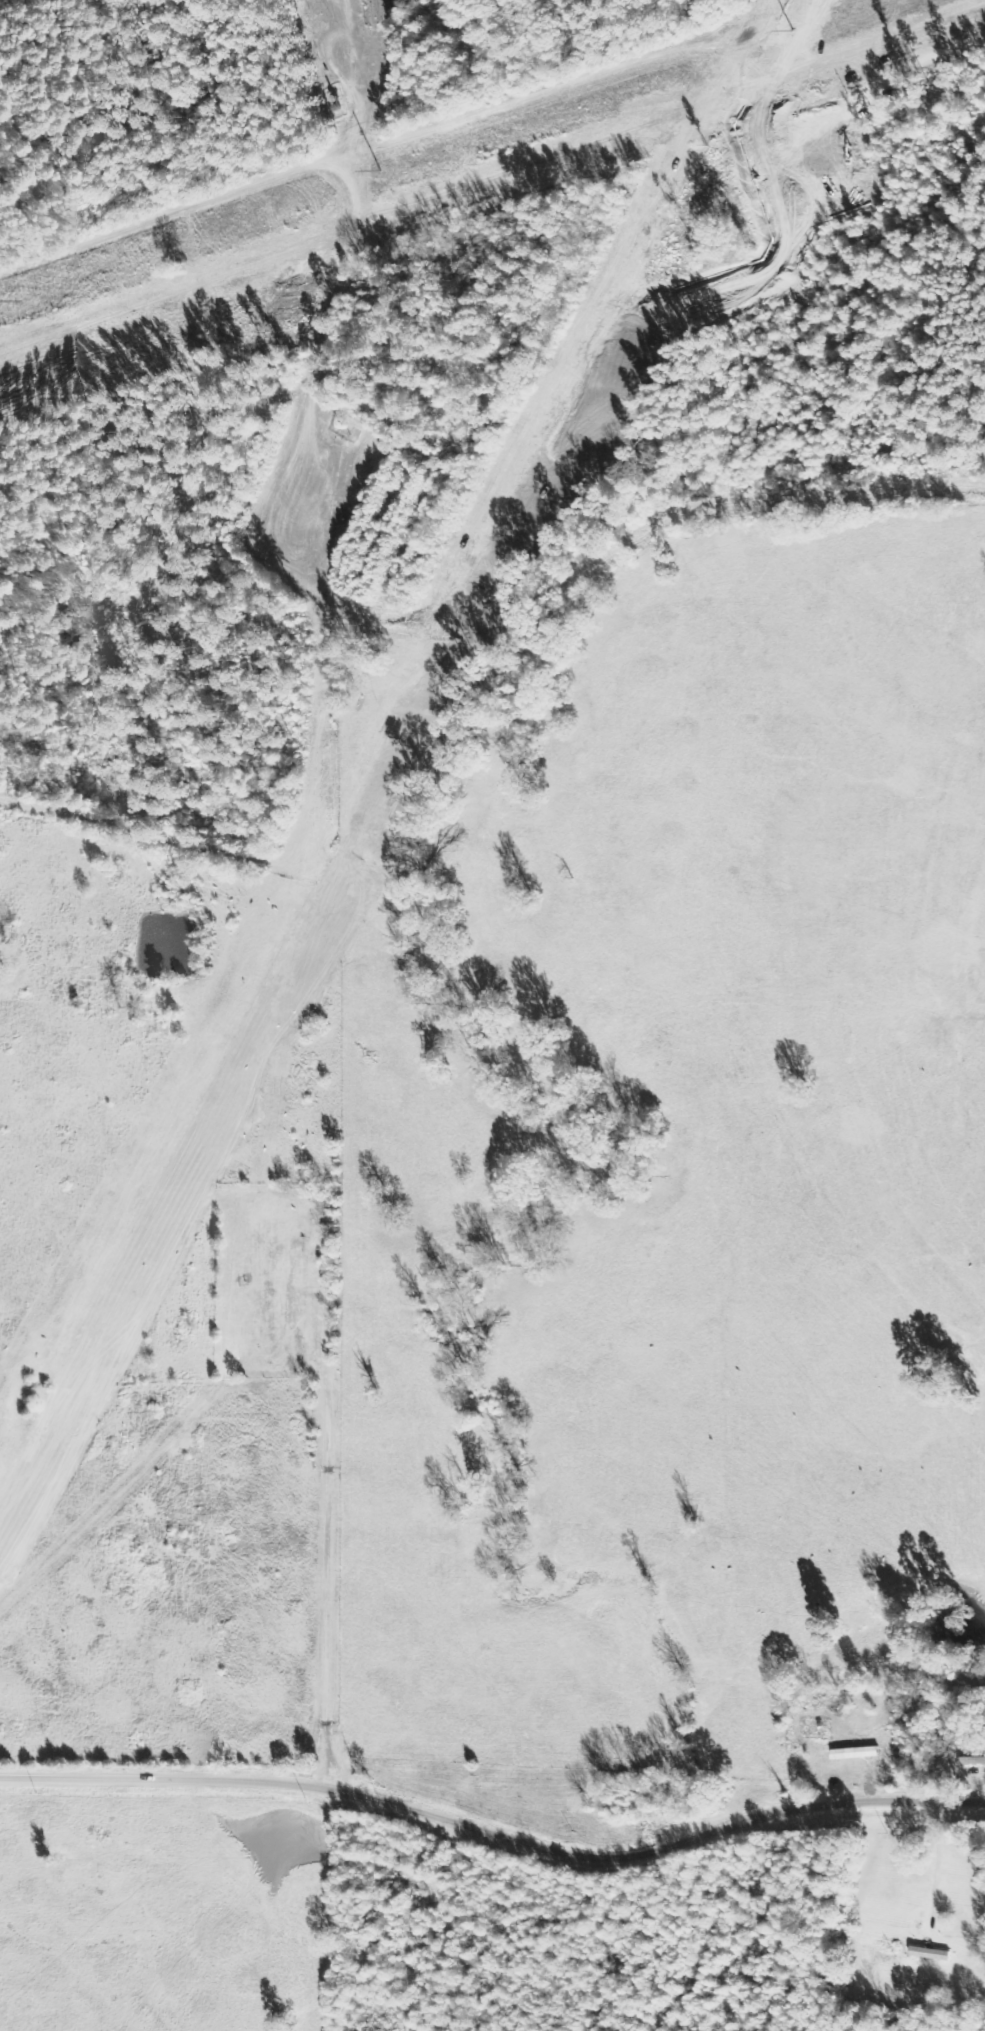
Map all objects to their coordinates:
power tower: (792, 33)
road: (905, 127)
power tower: (383, 173)
road: (315, 256)
power tower: (0, 305)
road: (491, 1843)

